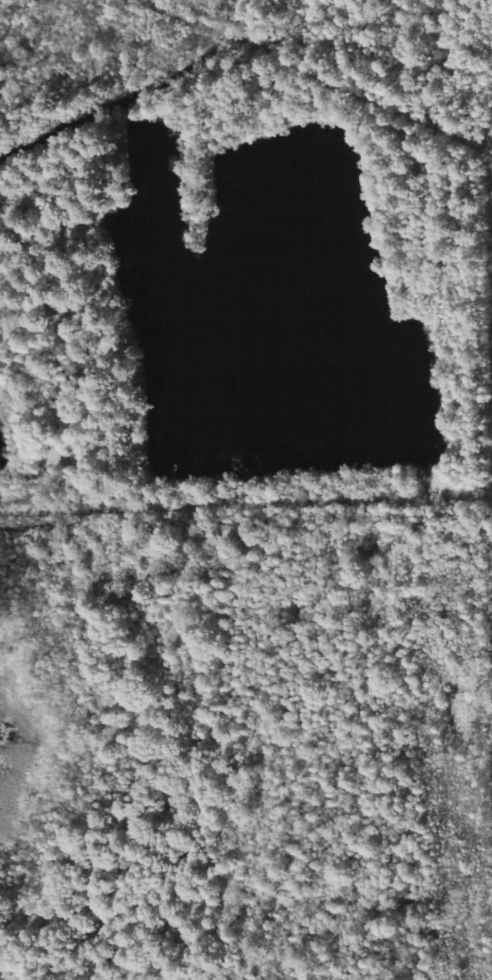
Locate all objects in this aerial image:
road: (246, 518)

